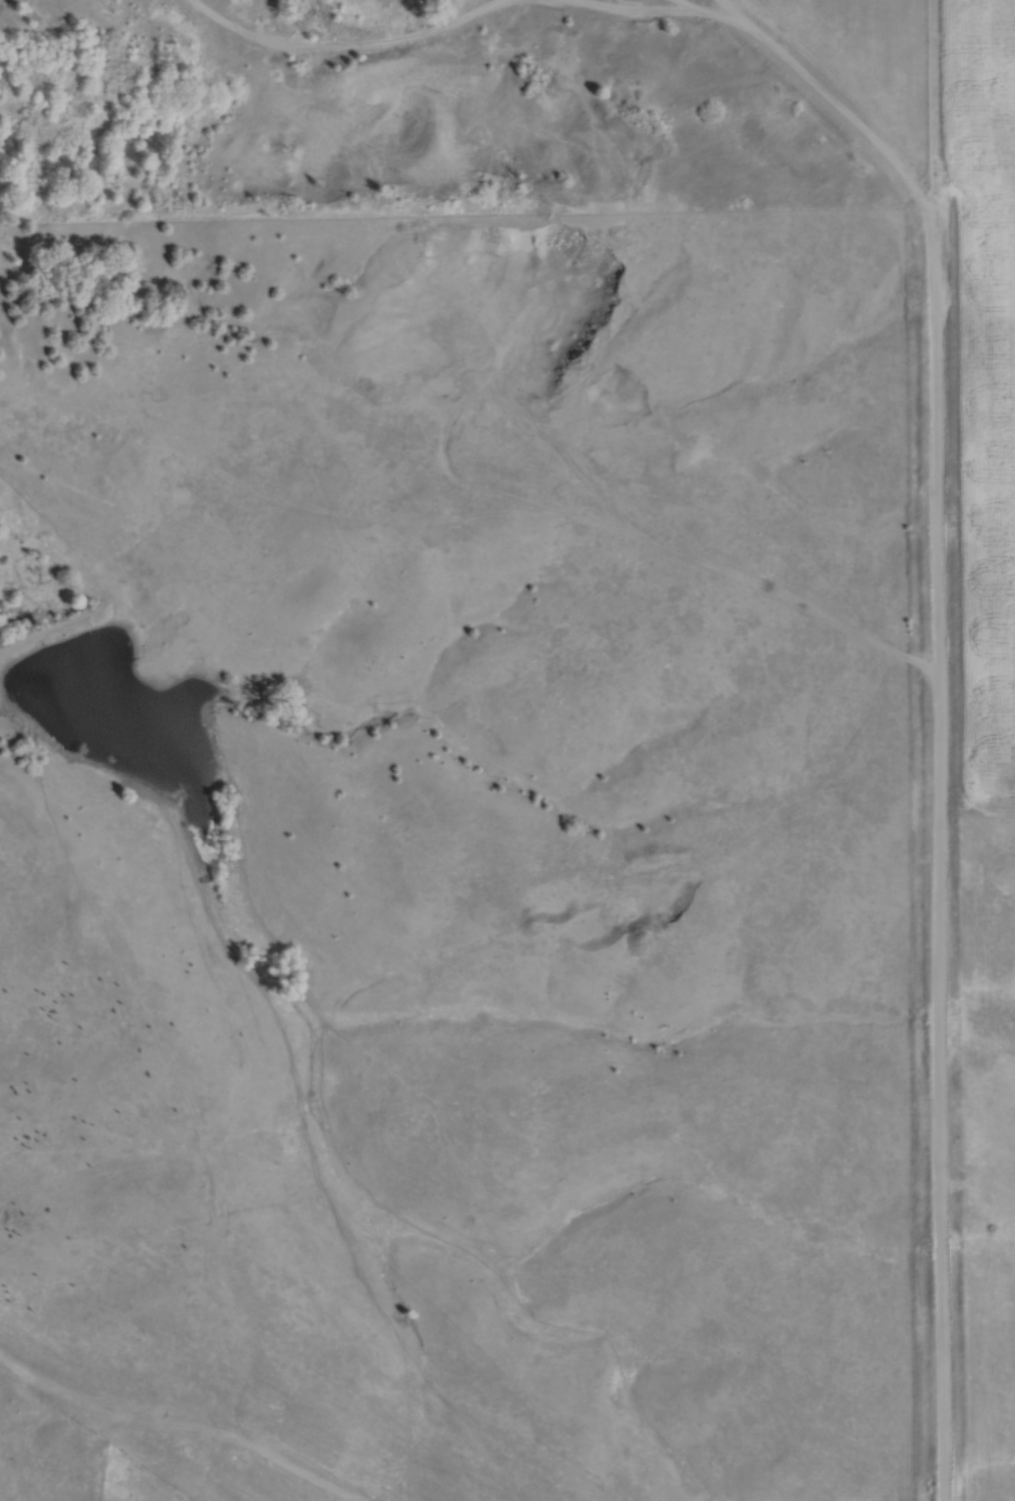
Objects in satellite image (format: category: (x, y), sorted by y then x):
road: (813, 92)
road: (940, 864)

